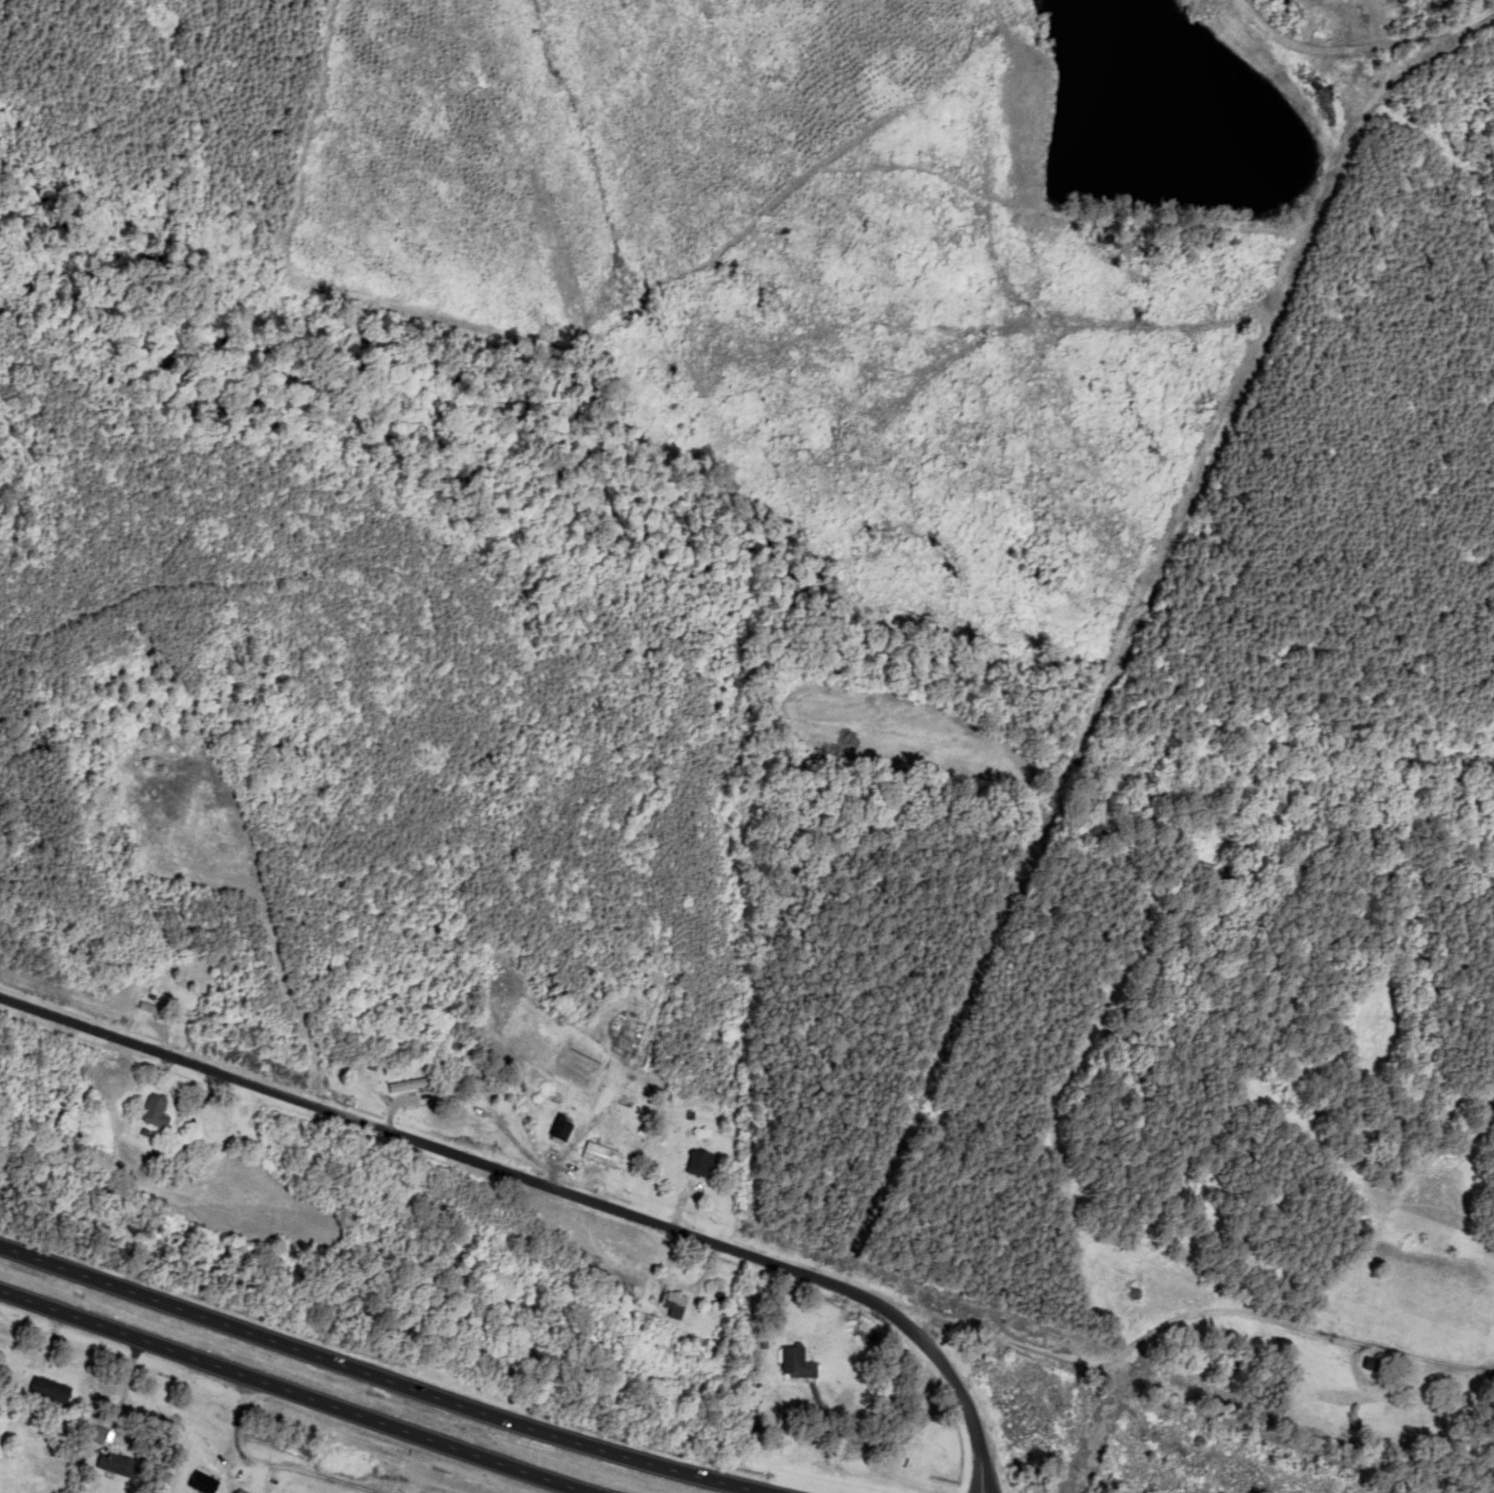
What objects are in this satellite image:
road: (1376, 56)
building: (150, 1010)
building: (460, 1060)
building: (406, 1086)
road: (476, 1108)
building: (153, 1113)
building: (697, 1164)
road: (547, 1184)
building: (673, 1307)
building: (642, 1318)
building: (796, 1364)
road: (382, 1377)
building: (46, 1390)
road: (293, 1391)
building: (202, 1483)
building: (238, 1491)

